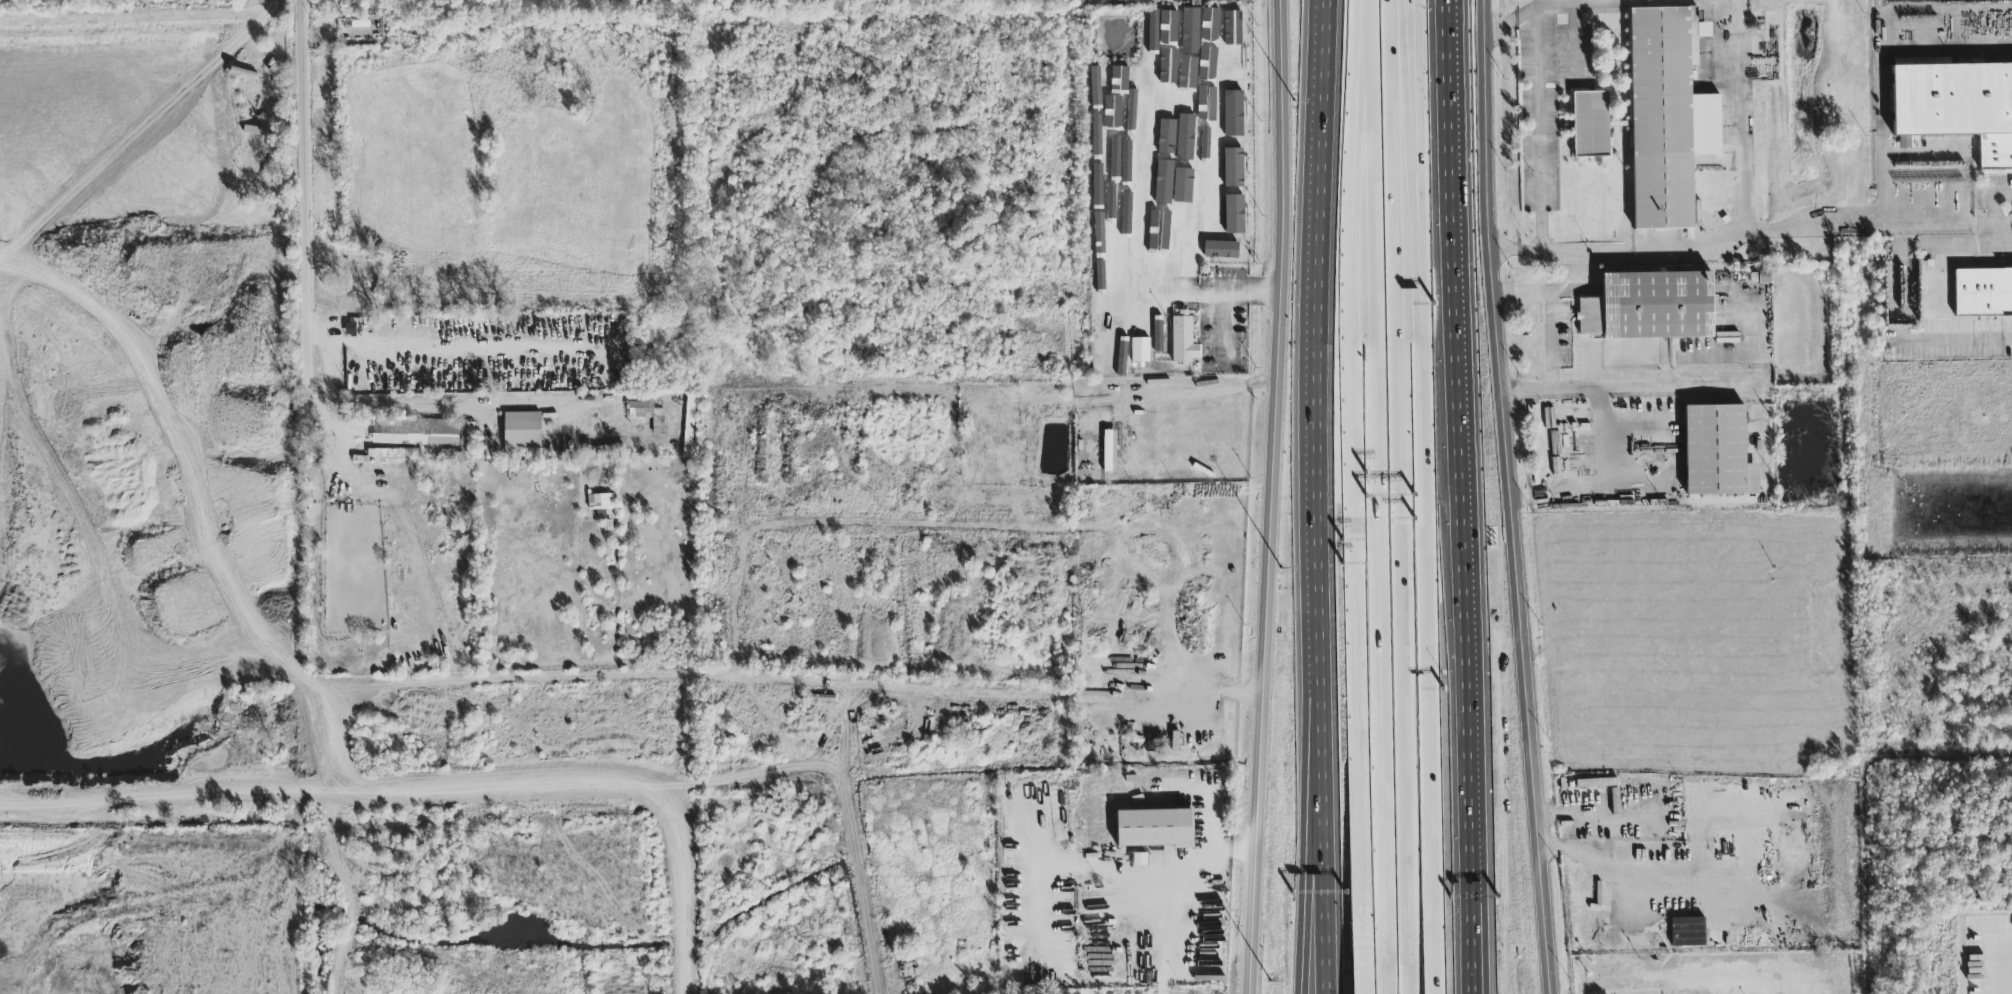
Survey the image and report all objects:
road: (1575, 4)
road: (288, 7)
road: (1510, 22)
building: (1171, 30)
building: (1211, 31)
building: (1153, 32)
building: (1192, 34)
building: (1232, 59)
road: (1369, 59)
road: (1389, 59)
road: (1446, 60)
building: (1214, 64)
road: (1884, 75)
building: (1177, 77)
building: (1141, 87)
building: (1126, 89)
building: (1196, 89)
building: (1958, 106)
building: (1233, 109)
building: (1668, 117)
building: (1591, 124)
building: (1215, 125)
road: (1538, 130)
building: (1166, 137)
road: (1742, 157)
road: (1419, 165)
road: (1410, 166)
building: (1232, 168)
building: (1208, 169)
road: (1075, 186)
road: (303, 187)
building: (1190, 192)
road: (1992, 201)
building: (1233, 215)
building: (1169, 221)
road: (2006, 224)
road: (1942, 226)
road: (2000, 235)
road: (1690, 245)
road: (2006, 246)
building: (1220, 250)
road: (1319, 261)
building: (1761, 278)
building: (1981, 292)
road: (1223, 296)
road: (1899, 298)
building: (1652, 307)
building: (1183, 340)
building: (1124, 348)
road: (445, 351)
building: (1139, 351)
road: (1579, 388)
road: (1529, 391)
road: (1199, 395)
road: (437, 405)
building: (647, 416)
building: (521, 431)
building: (425, 433)
building: (1108, 452)
building: (1719, 452)
road: (1509, 459)
road: (1355, 474)
road: (1601, 478)
road: (1462, 484)
road: (1274, 497)
building: (600, 503)
road: (1378, 556)
road: (1402, 556)
road: (1322, 575)
road: (1425, 663)
road: (988, 694)
road: (844, 736)
building: (1596, 784)
road: (1212, 797)
road: (848, 802)
road: (1304, 809)
road: (1326, 810)
building: (1156, 829)
building: (1752, 845)
building: (1138, 860)
road: (1112, 868)
road: (1695, 879)
road: (681, 888)
road: (1470, 921)
road: (1475, 921)
building: (1687, 932)
road: (1168, 933)
building: (1638, 941)
road: (1550, 956)
road: (1365, 972)
road: (1750, 975)
building: (1610, 984)

